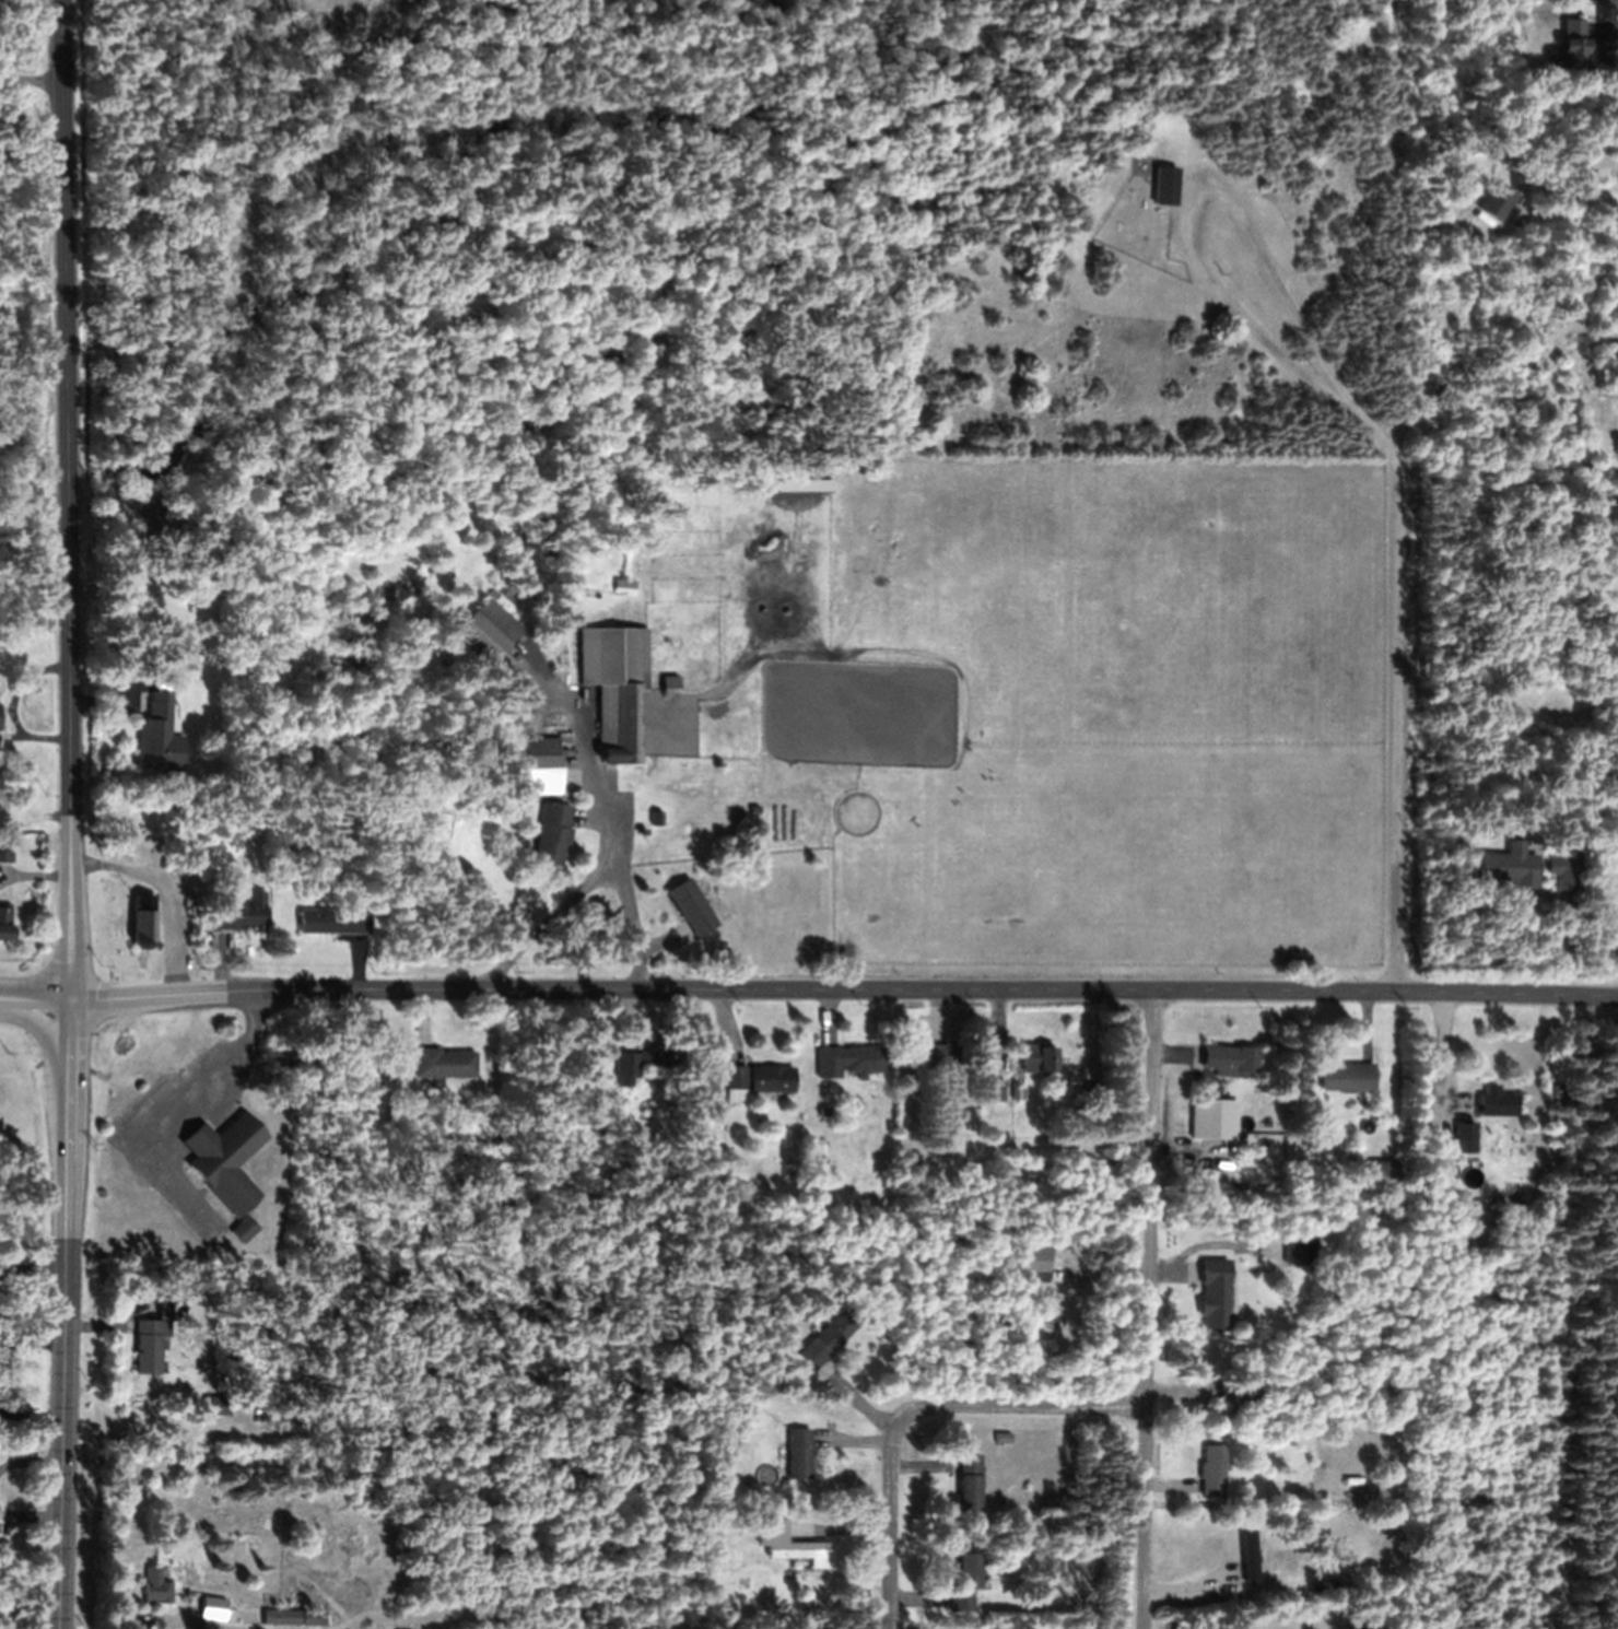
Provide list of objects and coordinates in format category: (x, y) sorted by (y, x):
building: (1574, 45)
building: (1165, 185)
building: (1498, 202)
building: (108, 462)
building: (1590, 470)
building: (802, 484)
building: (166, 496)
road: (61, 499)
building: (155, 525)
building: (406, 550)
building: (624, 586)
building: (482, 636)
building: (186, 647)
building: (669, 683)
building: (613, 689)
building: (0, 719)
building: (156, 735)
building: (1545, 735)
building: (11, 781)
building: (535, 783)
building: (177, 805)
building: (755, 809)
building: (657, 818)
building: (551, 833)
building: (5, 851)
building: (1509, 866)
building: (1564, 869)
building: (692, 906)
building: (244, 913)
building: (4, 921)
building: (332, 921)
building: (144, 923)
building: (1611, 929)
building: (34, 948)
road: (846, 991)
road: (37, 996)
building: (1039, 1057)
building: (1230, 1059)
building: (851, 1060)
building: (642, 1062)
building: (444, 1063)
building: (943, 1063)
road: (61, 1066)
building: (737, 1076)
road: (74, 1077)
building: (1348, 1077)
building: (773, 1079)
building: (997, 1090)
building: (1018, 1092)
building: (1557, 1093)
building: (1496, 1102)
building: (825, 1111)
building: (1215, 1120)
building: (1465, 1139)
building: (917, 1158)
building: (1431, 1158)
building: (228, 1160)
building: (823, 1162)
building: (1050, 1168)
building: (1095, 1171)
building: (1430, 1173)
building: (1382, 1174)
building: (1341, 1180)
building: (734, 1181)
building: (1257, 1185)
building: (1431, 1192)
building: (1480, 1227)
building: (245, 1230)
building: (1429, 1231)
building: (1300, 1250)
building: (1464, 1254)
building: (1071, 1269)
building: (1067, 1282)
building: (1280, 1293)
building: (1217, 1294)
building: (171, 1308)
road: (1153, 1311)
building: (825, 1339)
building: (149, 1344)
building: (1213, 1351)
road: (66, 1392)
building: (1239, 1392)
building: (751, 1401)
building: (216, 1405)
road: (1053, 1410)
building: (279, 1415)
building: (1221, 1421)
building: (1244, 1422)
building: (1290, 1427)
building: (1275, 1428)
building: (798, 1453)
building: (1212, 1469)
building: (969, 1482)
road: (895, 1499)
building: (789, 1543)
building: (1248, 1556)
building: (1054, 1568)
building: (965, 1581)
building: (156, 1586)
building: (188, 1592)
building: (1322, 1592)
building: (213, 1607)
building: (294, 1616)
building: (1369, 1628)

